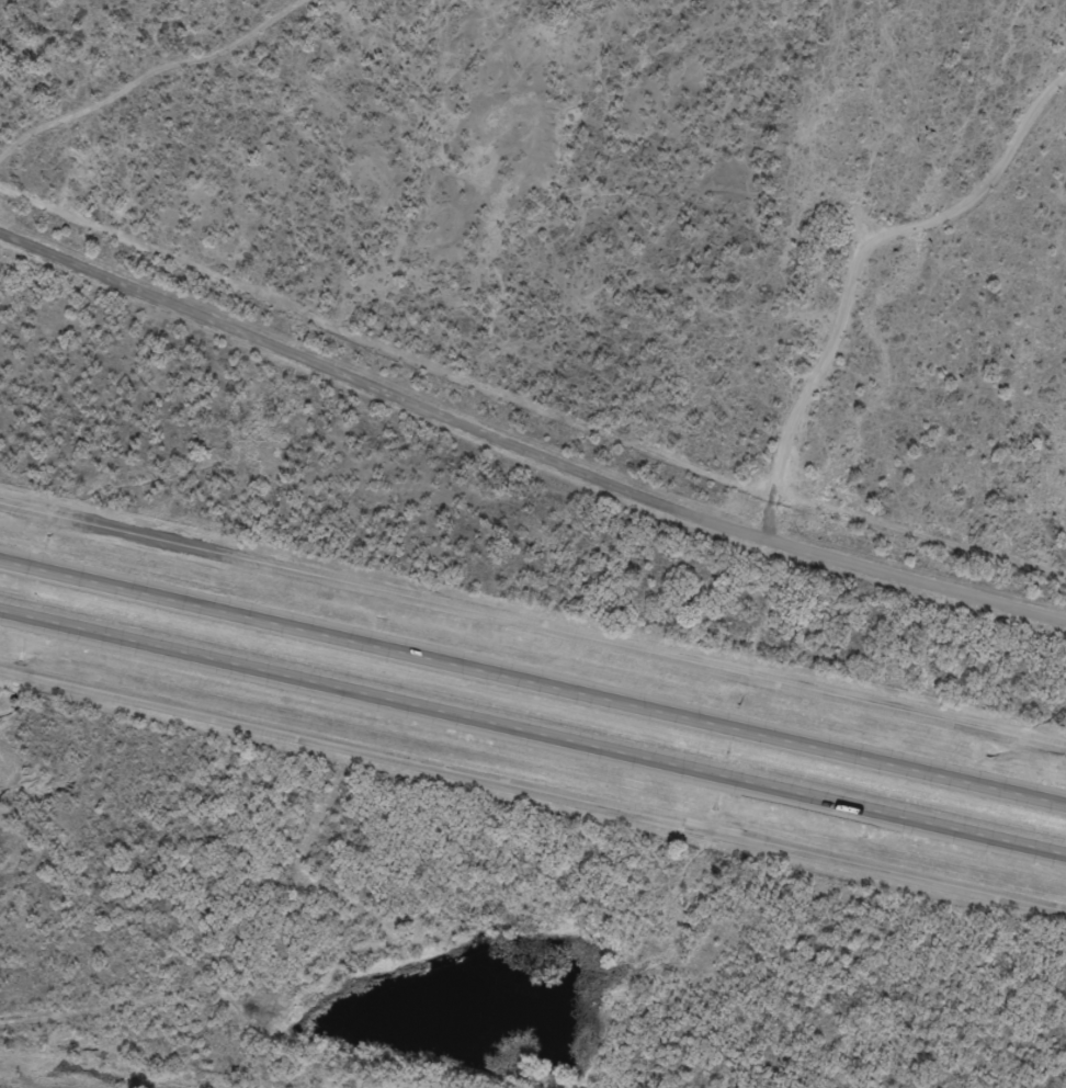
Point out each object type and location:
road: (524, 447)
road: (533, 624)
road: (533, 681)
road: (533, 729)
road: (533, 792)

